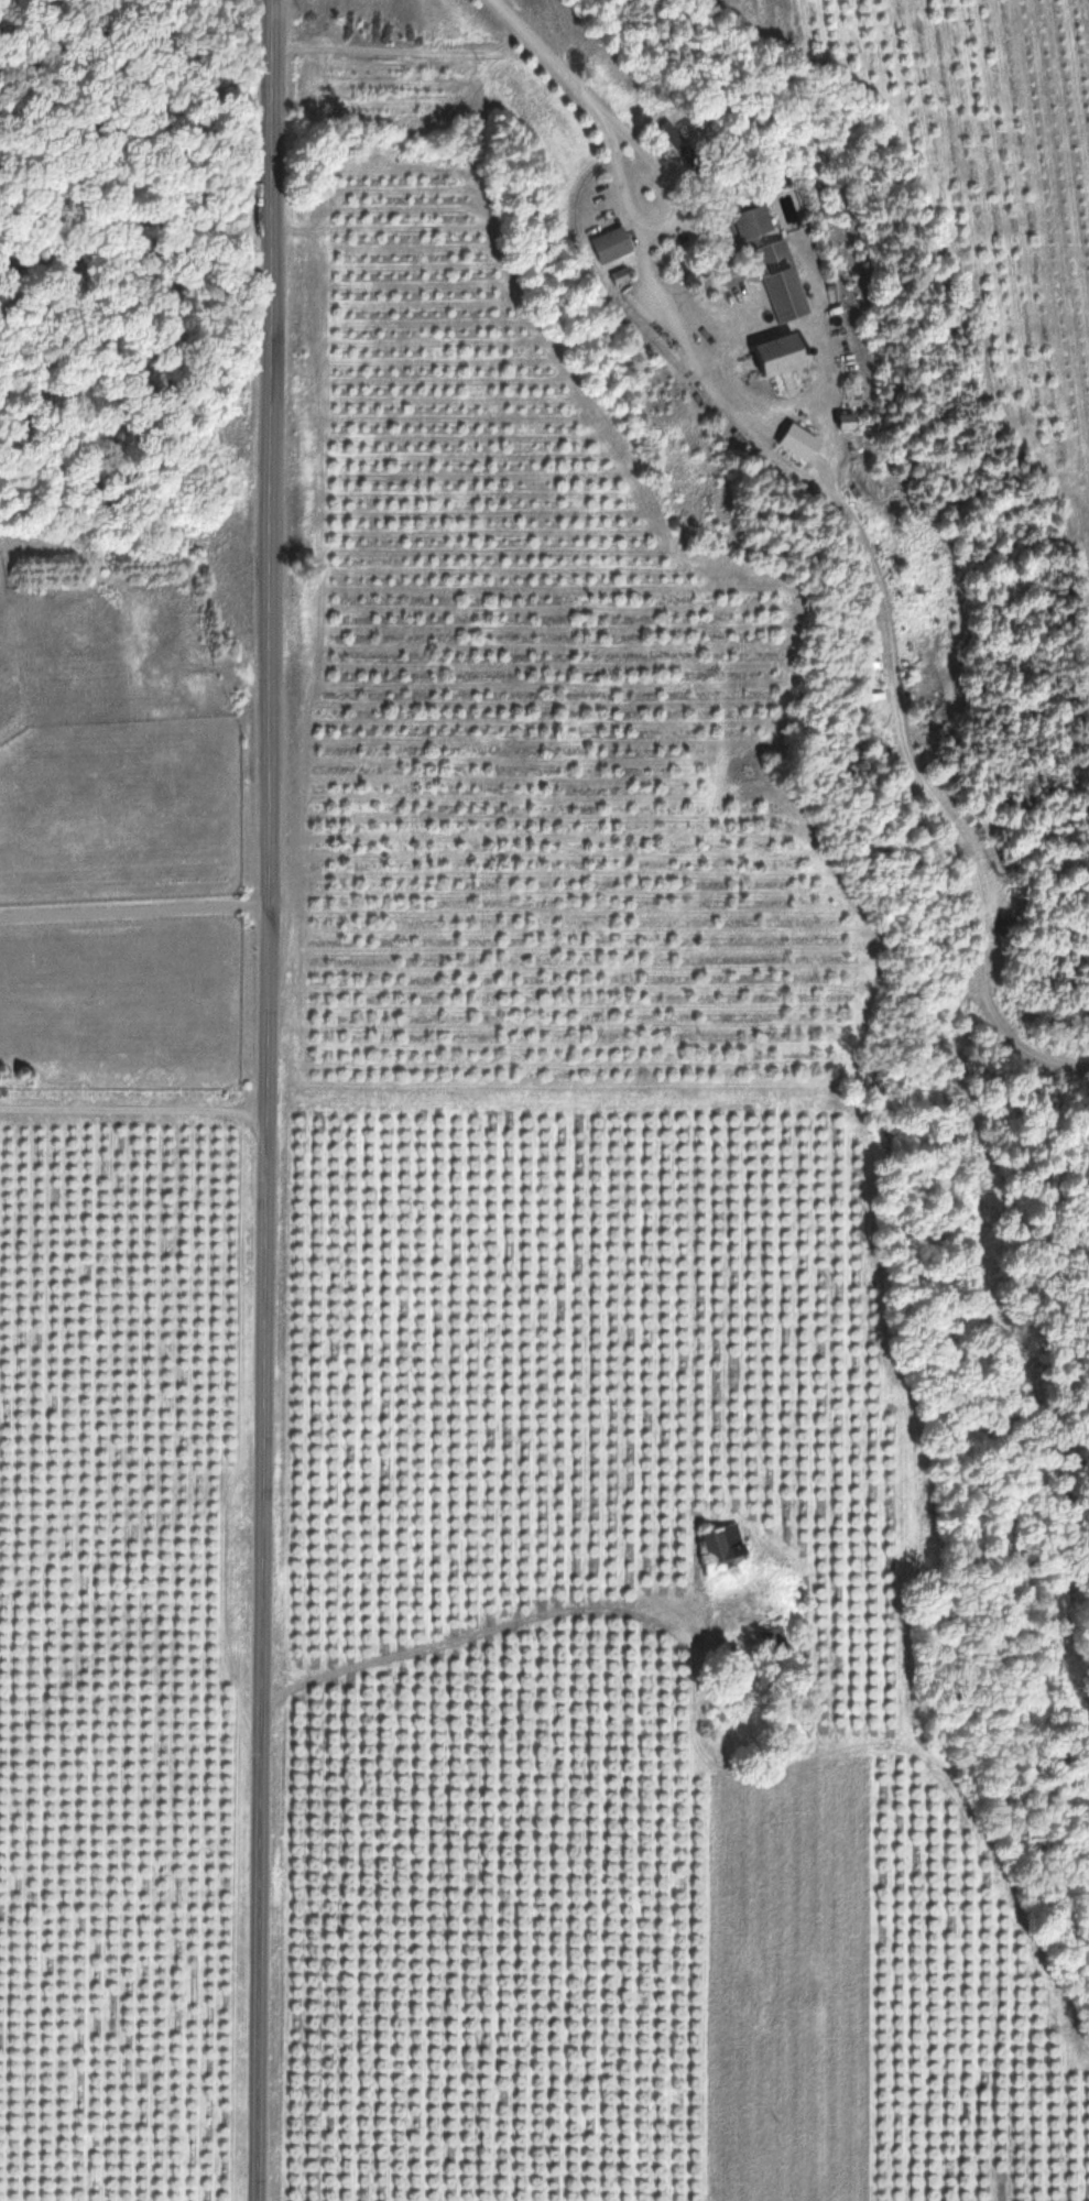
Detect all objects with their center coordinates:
road: (406, 52)
road: (587, 98)
building: (666, 134)
building: (603, 247)
building: (767, 265)
building: (614, 279)
building: (766, 357)
building: (840, 423)
building: (792, 444)
road: (135, 913)
road: (270, 1100)
road: (134, 1110)
building: (716, 1550)
road: (509, 1625)
building: (770, 1643)

